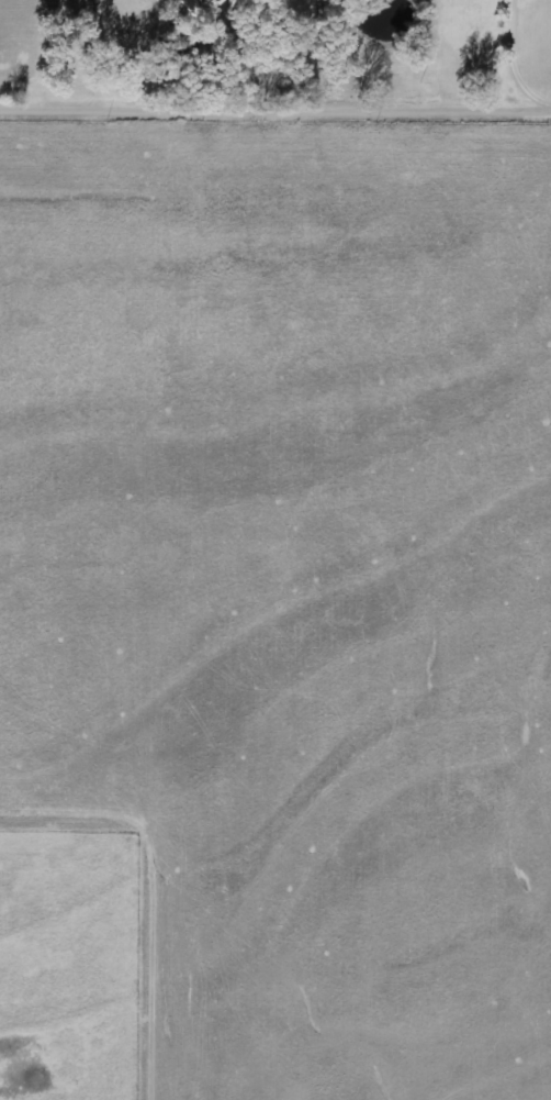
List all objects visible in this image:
road: (513, 57)
road: (274, 114)

